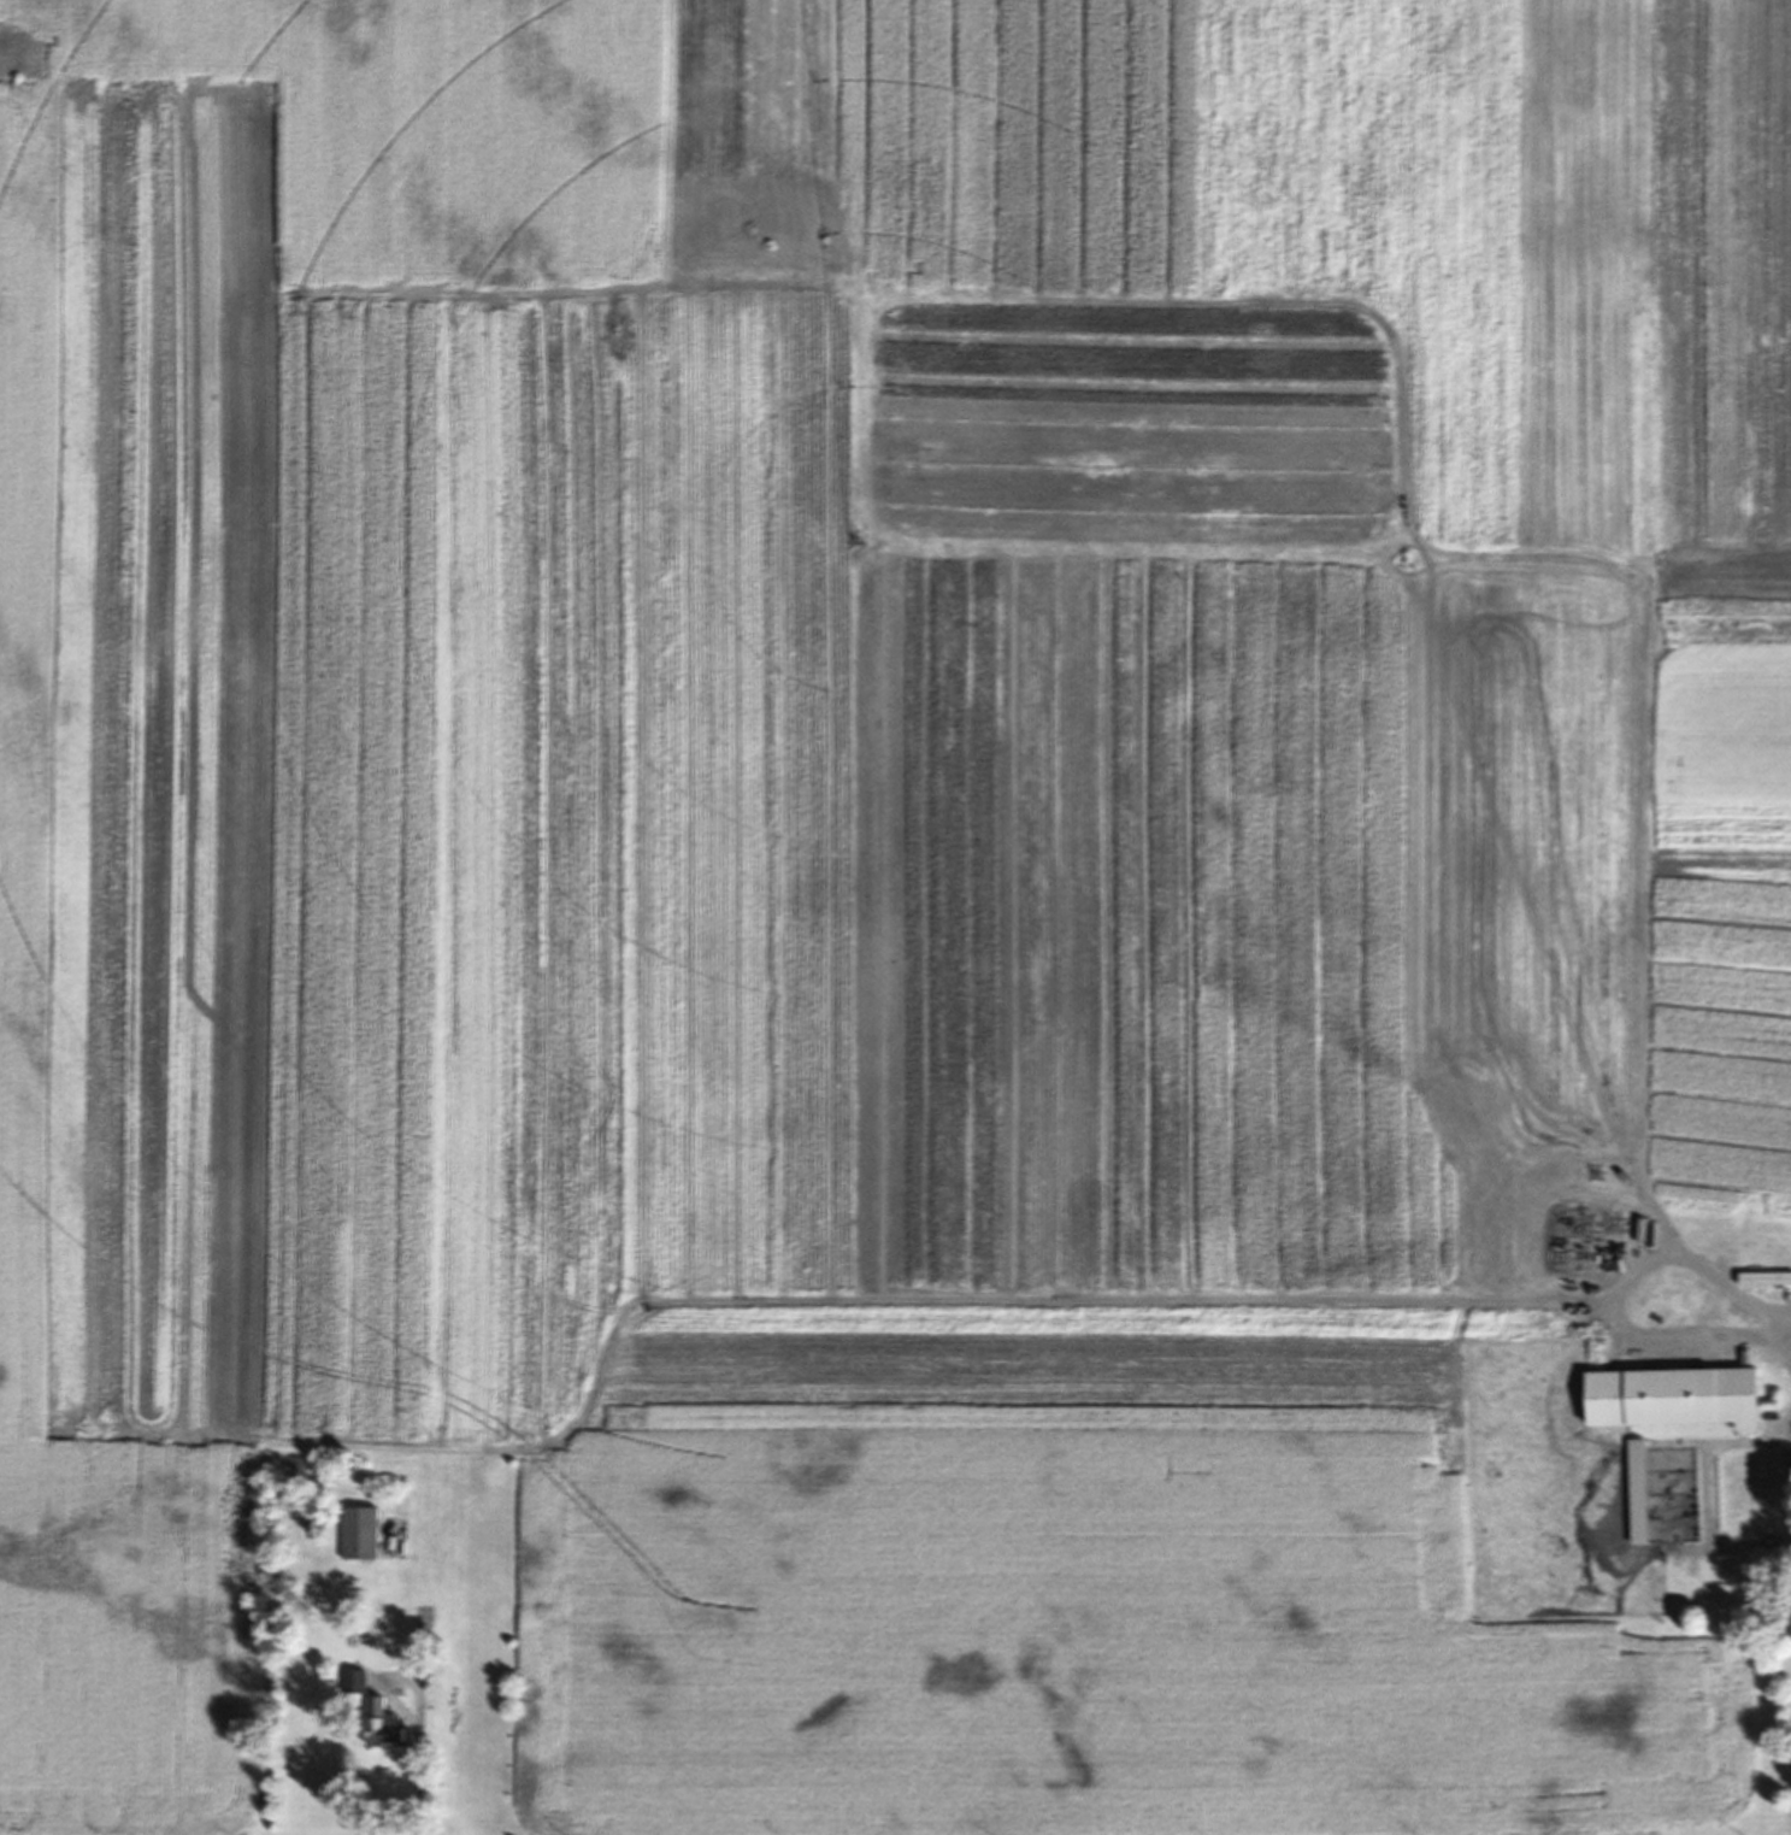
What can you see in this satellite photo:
crop: (868, 851)
building: (1771, 1281)
building: (1687, 1400)
building: (1646, 1494)
building: (369, 1536)
building: (394, 1739)
road: (416, 1777)

